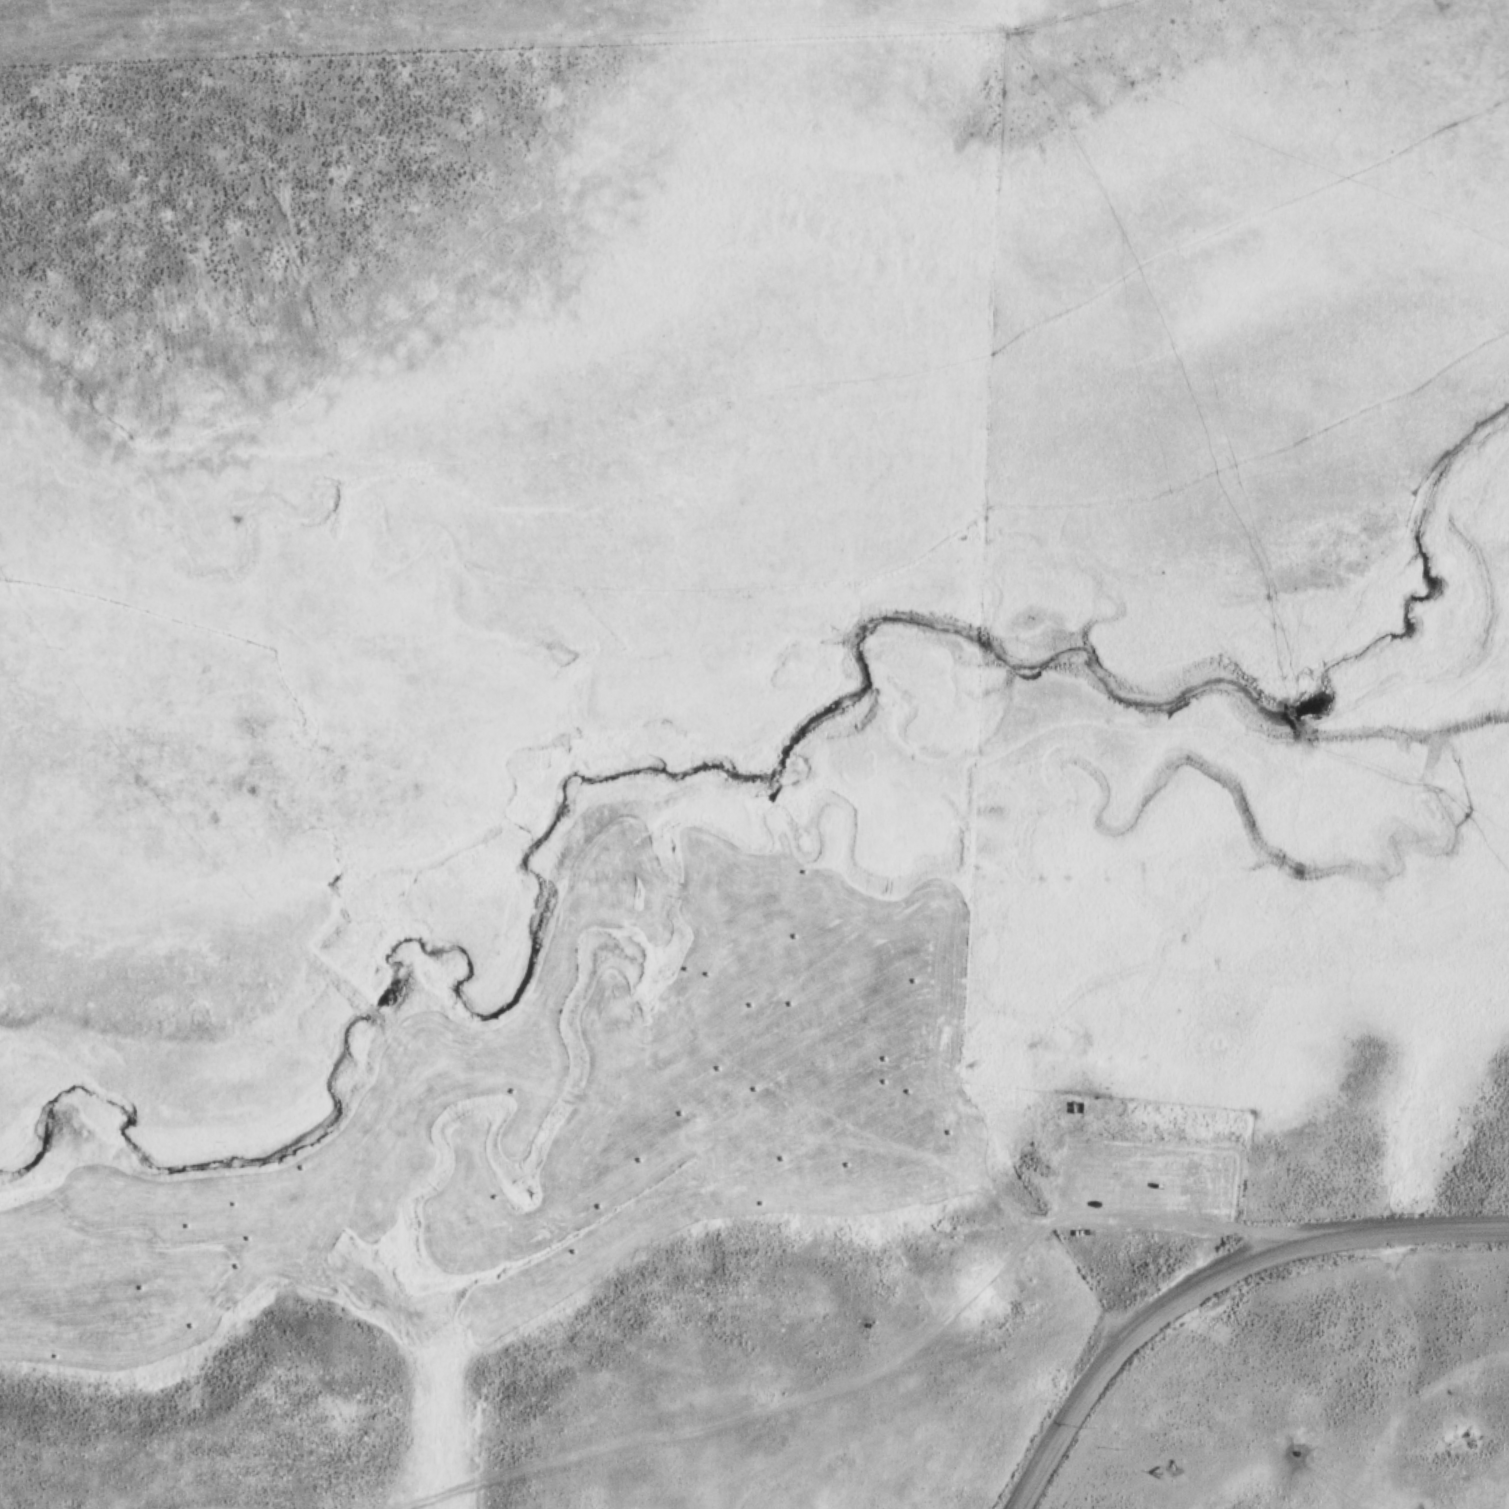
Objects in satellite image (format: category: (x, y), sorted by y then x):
road: (1228, 1322)

